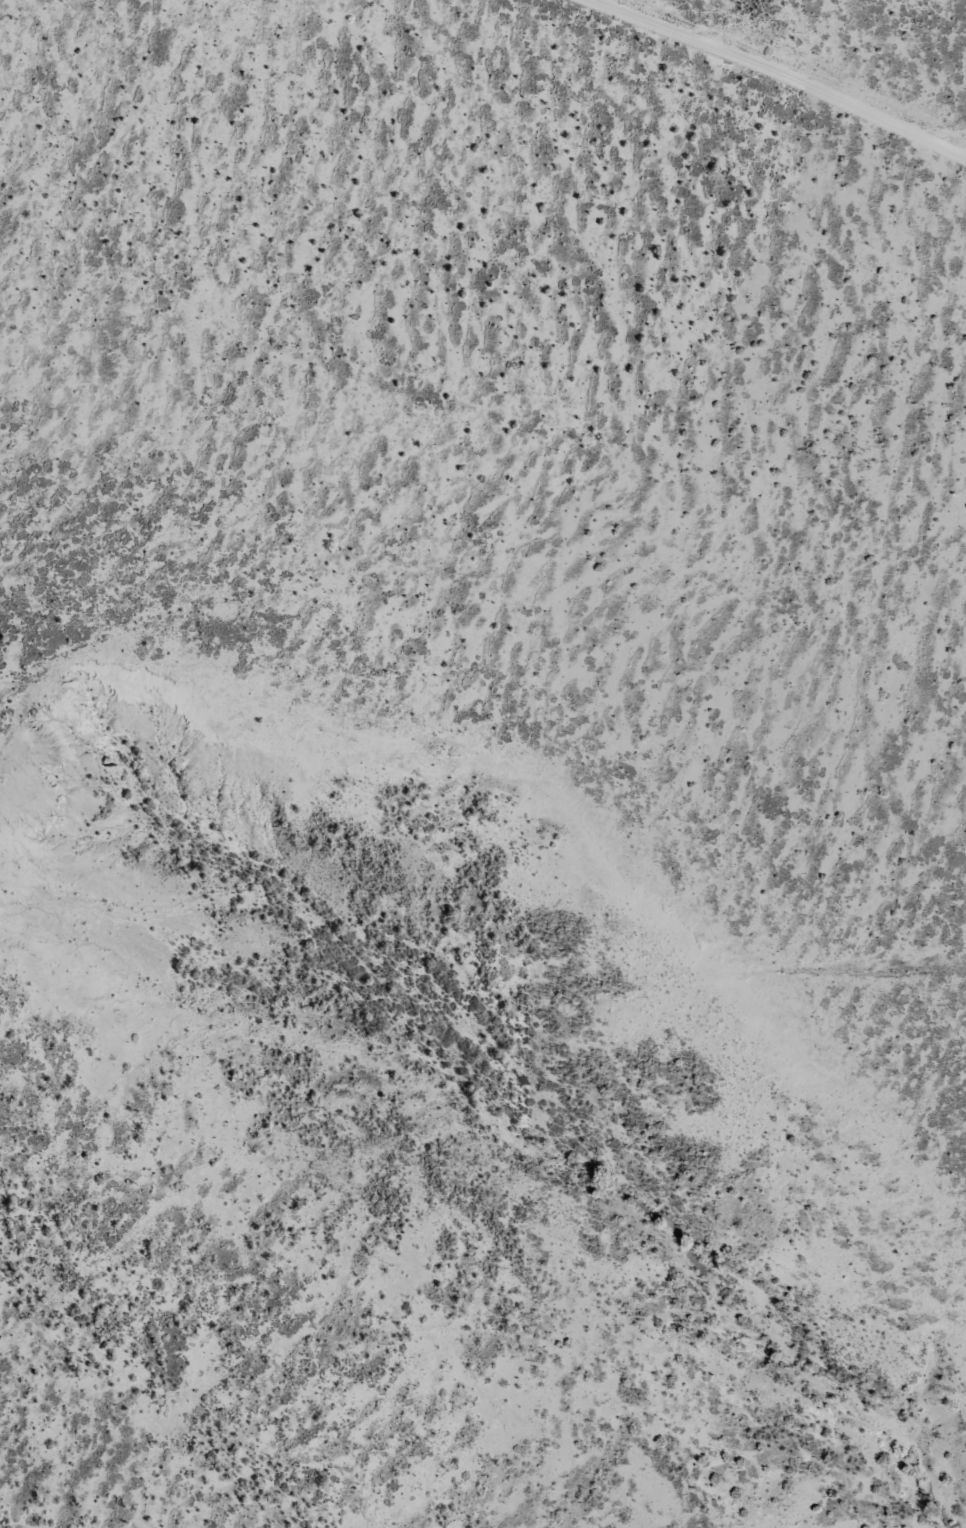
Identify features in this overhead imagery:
road: (755, 77)

